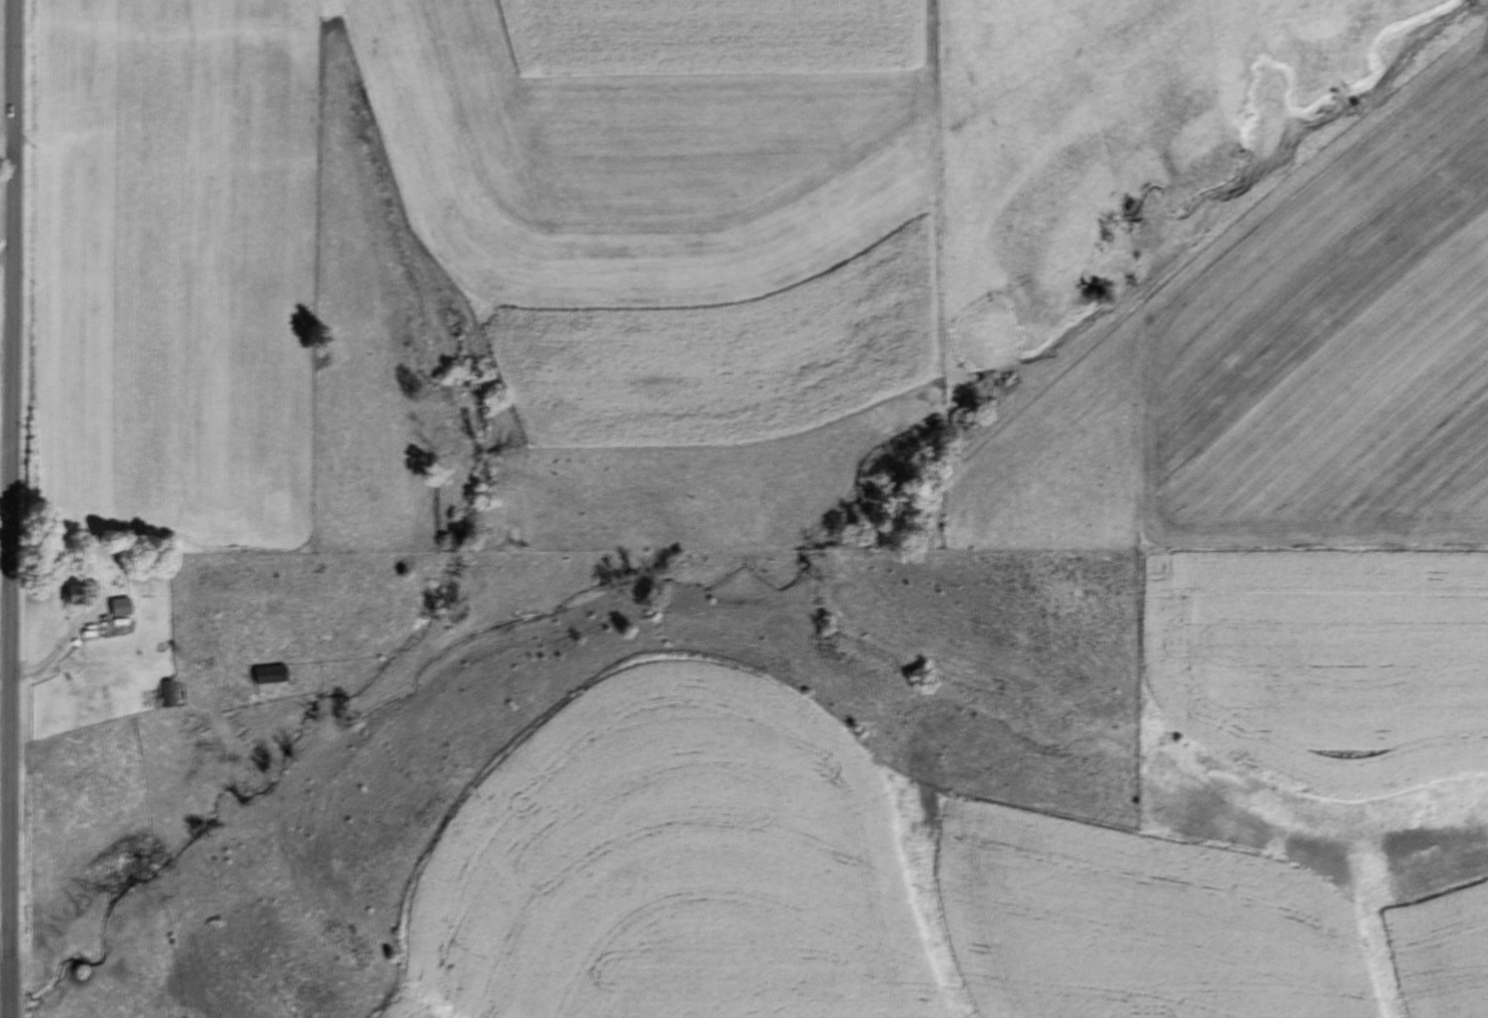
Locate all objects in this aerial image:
road: (13, 509)
building: (74, 595)
building: (113, 608)
building: (266, 676)
building: (165, 695)

